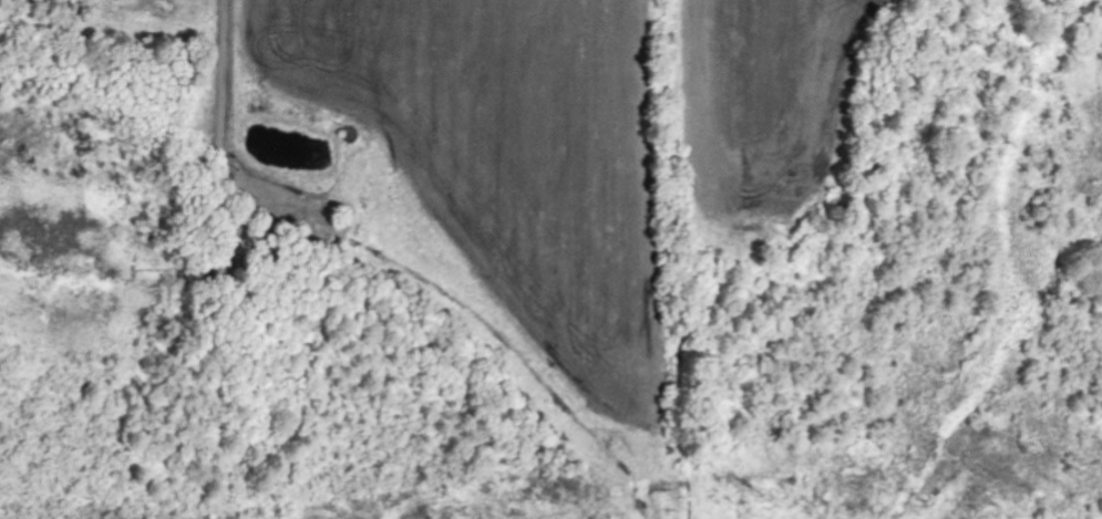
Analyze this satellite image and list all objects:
power tower: (765, 499)

